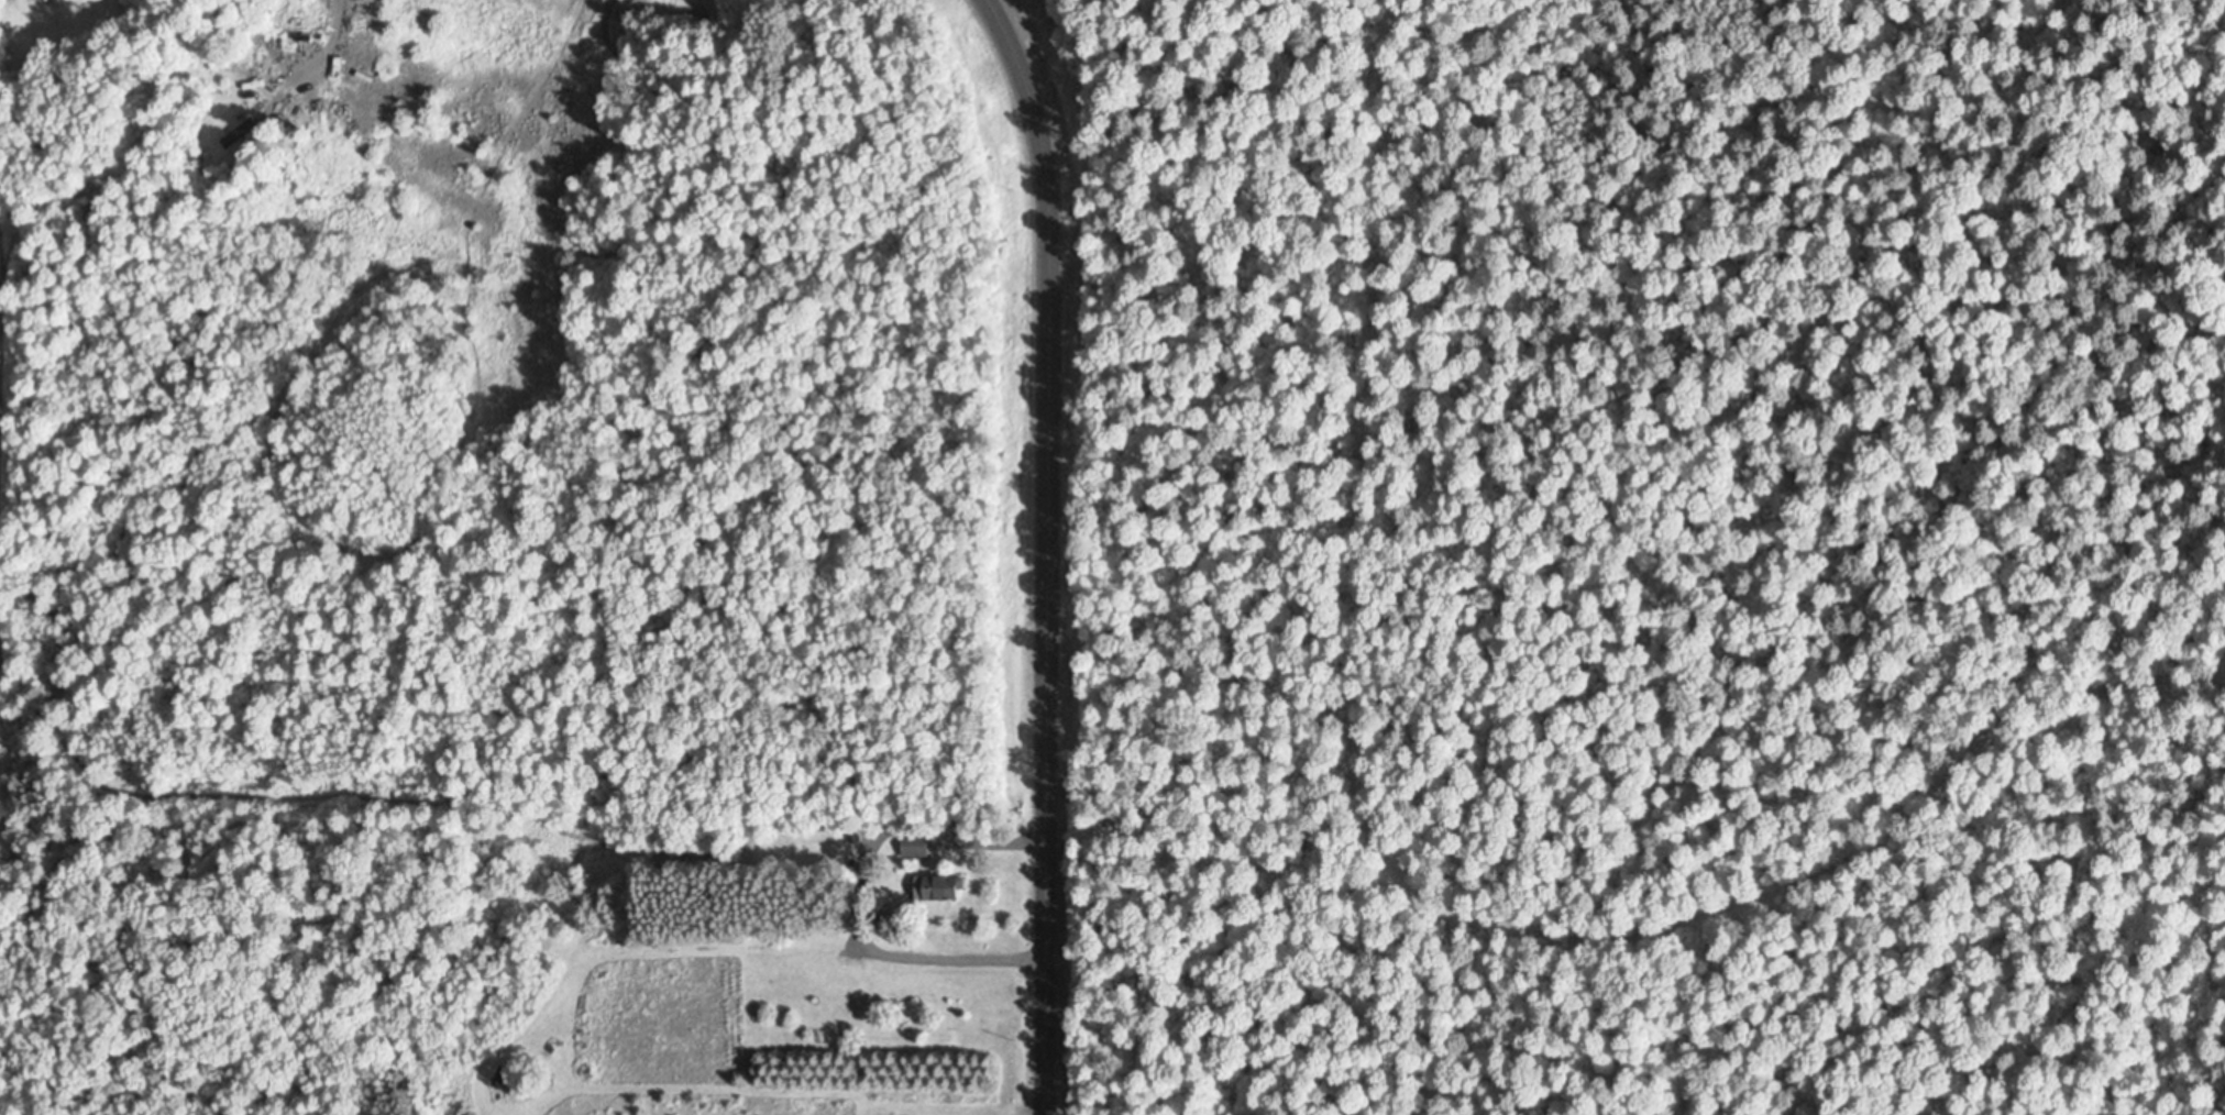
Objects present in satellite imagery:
building: (596, 4)
road: (324, 54)
building: (247, 126)
building: (464, 188)
road: (1047, 552)
building: (916, 844)
building: (939, 886)
road: (864, 890)

